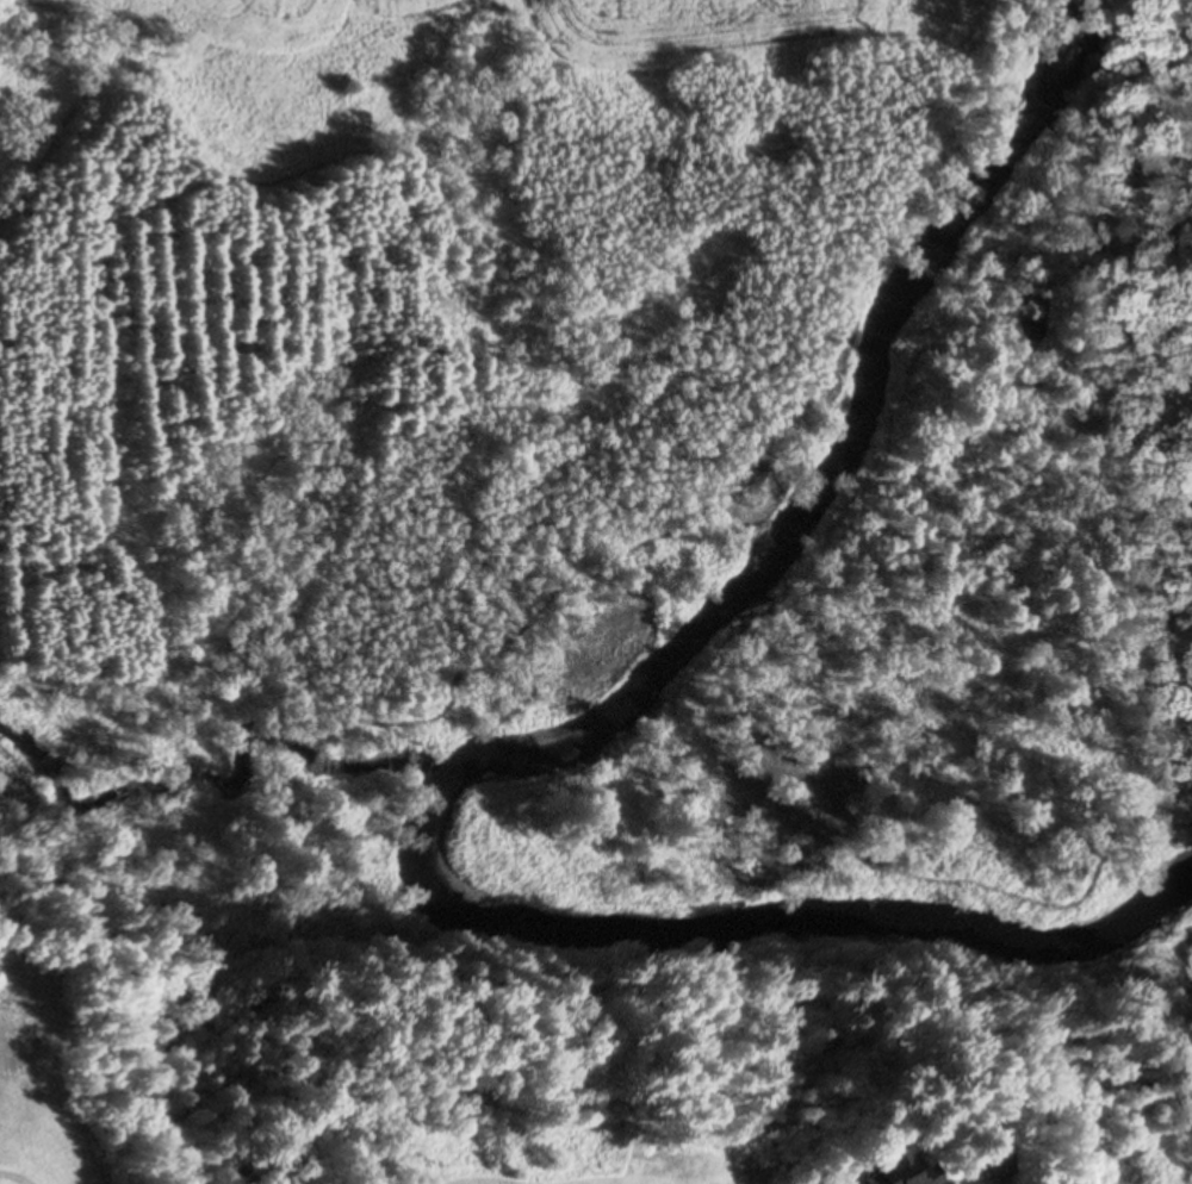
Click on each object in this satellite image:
river: (523, 740)
building: (988, 1158)
building: (892, 1171)
park: (29, 1176)

